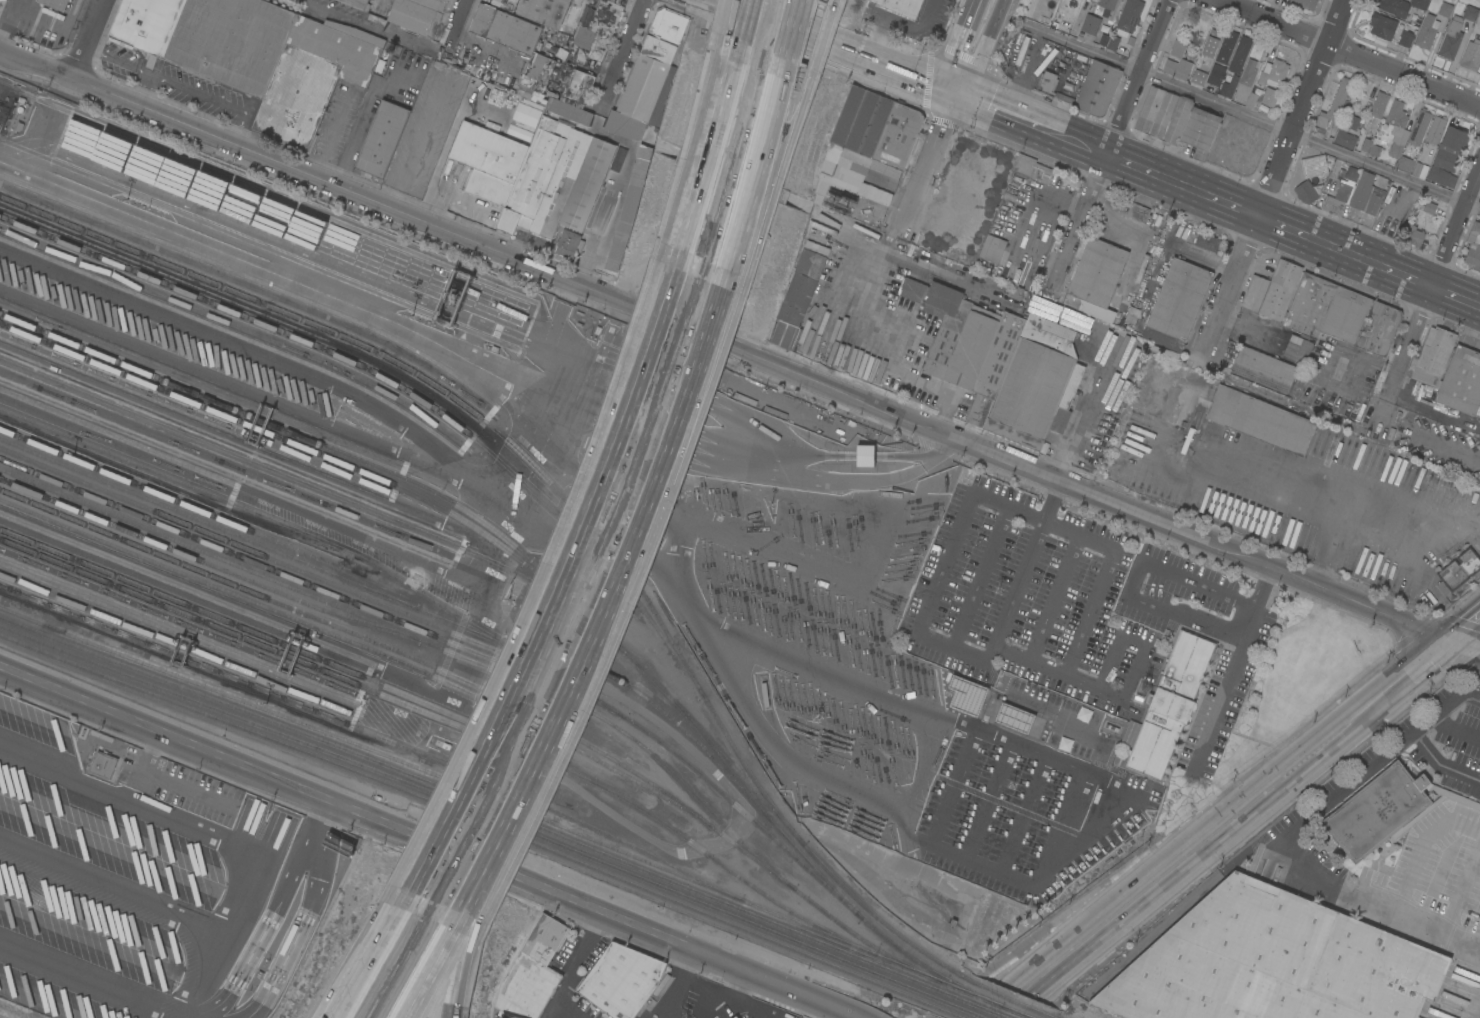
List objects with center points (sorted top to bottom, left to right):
road: (822, 0)
building: (620, 2)
building: (356, 3)
building: (433, 3)
building: (504, 3)
building: (1305, 3)
building: (56, 4)
building: (1419, 4)
building: (901, 6)
building: (1105, 7)
building: (1394, 7)
building: (384, 9)
road: (746, 9)
building: (1445, 9)
building: (544, 12)
building: (574, 12)
building: (1470, 13)
building: (1129, 15)
building: (414, 16)
road: (737, 17)
road: (7, 18)
road: (456, 19)
road: (755, 22)
building: (1091, 24)
building: (1382, 25)
road: (901, 26)
building: (505, 28)
building: (584, 30)
road: (791, 30)
road: (812, 31)
building: (1427, 31)
road: (1156, 36)
building: (209, 37)
building: (1452, 37)
building: (1099, 38)
building: (1405, 38)
road: (87, 39)
road: (818, 39)
building: (1112, 42)
building: (1210, 43)
road: (959, 45)
building: (1226, 46)
road: (1086, 48)
road: (984, 50)
road: (1350, 51)
building: (1240, 54)
building: (1471, 56)
road: (623, 57)
building: (1183, 60)
building: (380, 65)
building: (653, 68)
building: (1273, 73)
building: (1216, 74)
road: (911, 77)
building: (313, 78)
building: (1246, 80)
building: (1051, 85)
building: (1228, 85)
building: (1097, 89)
traffic signals: (954, 94)
building: (1270, 96)
building: (1251, 100)
building: (1335, 104)
building: (1379, 104)
road: (722, 109)
building: (547, 111)
road: (1124, 112)
road: (730, 114)
building: (1163, 114)
road: (361, 117)
building: (861, 120)
road: (1031, 123)
building: (1419, 127)
road: (763, 128)
building: (1397, 128)
road: (772, 129)
building: (1435, 129)
building: (1200, 131)
road: (452, 132)
building: (1347, 133)
building: (898, 135)
building: (382, 138)
building: (1455, 138)
road: (1310, 139)
building: (1365, 147)
building: (1374, 150)
road: (412, 152)
building: (488, 161)
road: (925, 162)
building: (1024, 164)
building: (1405, 164)
building: (1314, 166)
building: (1443, 168)
building: (1420, 170)
building: (1351, 172)
building: (850, 173)
building: (1041, 174)
building: (545, 178)
road: (1273, 181)
building: (587, 184)
building: (1381, 185)
building: (1362, 190)
building: (1308, 191)
building: (1336, 197)
road: (462, 199)
building: (825, 200)
building: (1372, 203)
building: (1429, 207)
building: (1138, 212)
road: (1078, 222)
road: (698, 226)
road: (1293, 230)
building: (1414, 235)
building: (852, 238)
road: (731, 239)
road: (453, 240)
building: (1207, 241)
building: (569, 243)
building: (1474, 246)
building: (992, 248)
building: (1097, 271)
road: (1435, 279)
building: (912, 289)
building: (1272, 290)
building: (799, 292)
building: (1017, 293)
building: (1177, 304)
building: (1342, 314)
building: (1132, 315)
building: (970, 346)
building: (1297, 348)
building: (1433, 355)
building: (1265, 364)
building: (1261, 378)
building: (1461, 381)
railway: (397, 382)
building: (1036, 385)
building: (1260, 419)
railway: (295, 433)
road: (1452, 449)
road: (976, 450)
road: (1222, 453)
building: (865, 456)
railway: (557, 488)
railway: (327, 491)
road: (1346, 496)
road: (1049, 502)
railway: (209, 513)
road: (623, 520)
railway: (252, 540)
road: (1113, 548)
railway: (208, 562)
road: (1247, 562)
railway: (532, 570)
road: (941, 570)
building: (1458, 570)
railway: (311, 574)
railway: (290, 576)
road: (979, 577)
road: (1133, 579)
road: (567, 589)
road: (1053, 596)
road: (599, 601)
railway: (454, 614)
road: (1467, 636)
railway: (363, 638)
railway: (329, 642)
railway: (284, 645)
traffic signals: (1454, 647)
road: (1467, 652)
road: (1135, 661)
railway: (410, 669)
road: (1227, 671)
railway: (505, 674)
road: (837, 674)
road: (1403, 686)
railway: (517, 689)
building: (966, 695)
building: (1168, 706)
building: (1015, 717)
railway: (446, 720)
railway: (375, 734)
road: (1046, 755)
road: (1377, 762)
building: (103, 764)
railway: (742, 774)
railway: (277, 782)
road: (948, 784)
railway: (465, 785)
railway: (473, 798)
road: (986, 799)
railway: (470, 808)
building: (1376, 811)
road: (1021, 813)
railway: (466, 816)
road: (1066, 820)
road: (427, 843)
road: (1169, 869)
road: (474, 884)
road: (114, 885)
road: (241, 899)
road: (412, 904)
road: (305, 915)
road: (261, 932)
railway: (705, 958)
building: (1273, 963)
road: (425, 964)
road: (446, 964)
road: (370, 965)
road: (377, 965)
road: (570, 970)
building: (532, 971)
building: (622, 980)
road: (672, 984)
road: (718, 987)
railway: (970, 990)
railway: (1007, 996)
railway: (991, 1001)
railway: (976, 1004)
road: (754, 1006)
railway: (963, 1008)
railway: (16, 1011)
road: (169, 1011)
railway: (948, 1011)
road: (658, 1015)
railway: (3, 1016)
building: (733, 1017)
building: (735, 1017)

